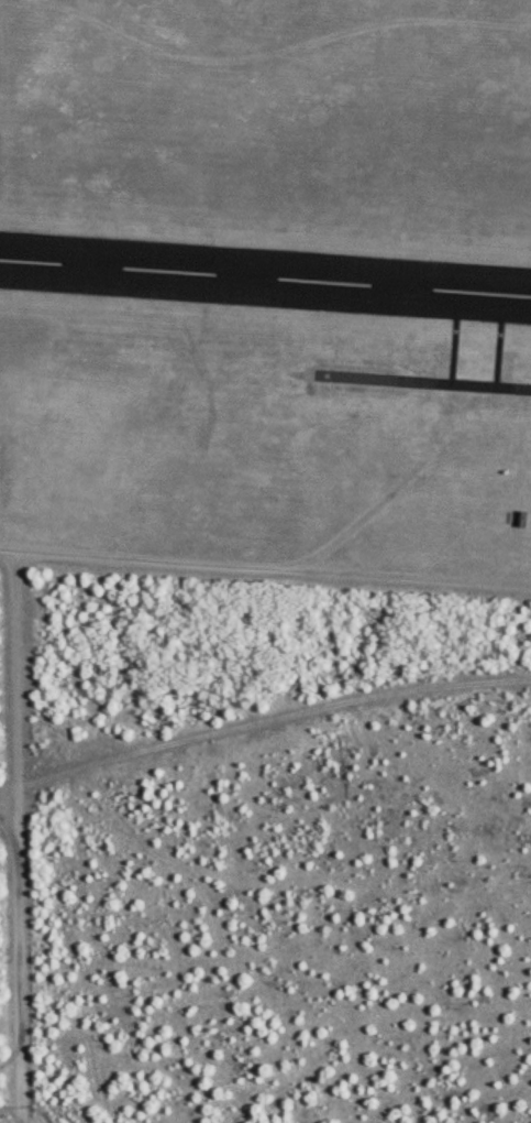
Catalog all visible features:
airport runway: (265, 279)
road: (7, 283)
airport: (267, 292)
road: (7, 804)
road: (18, 963)

